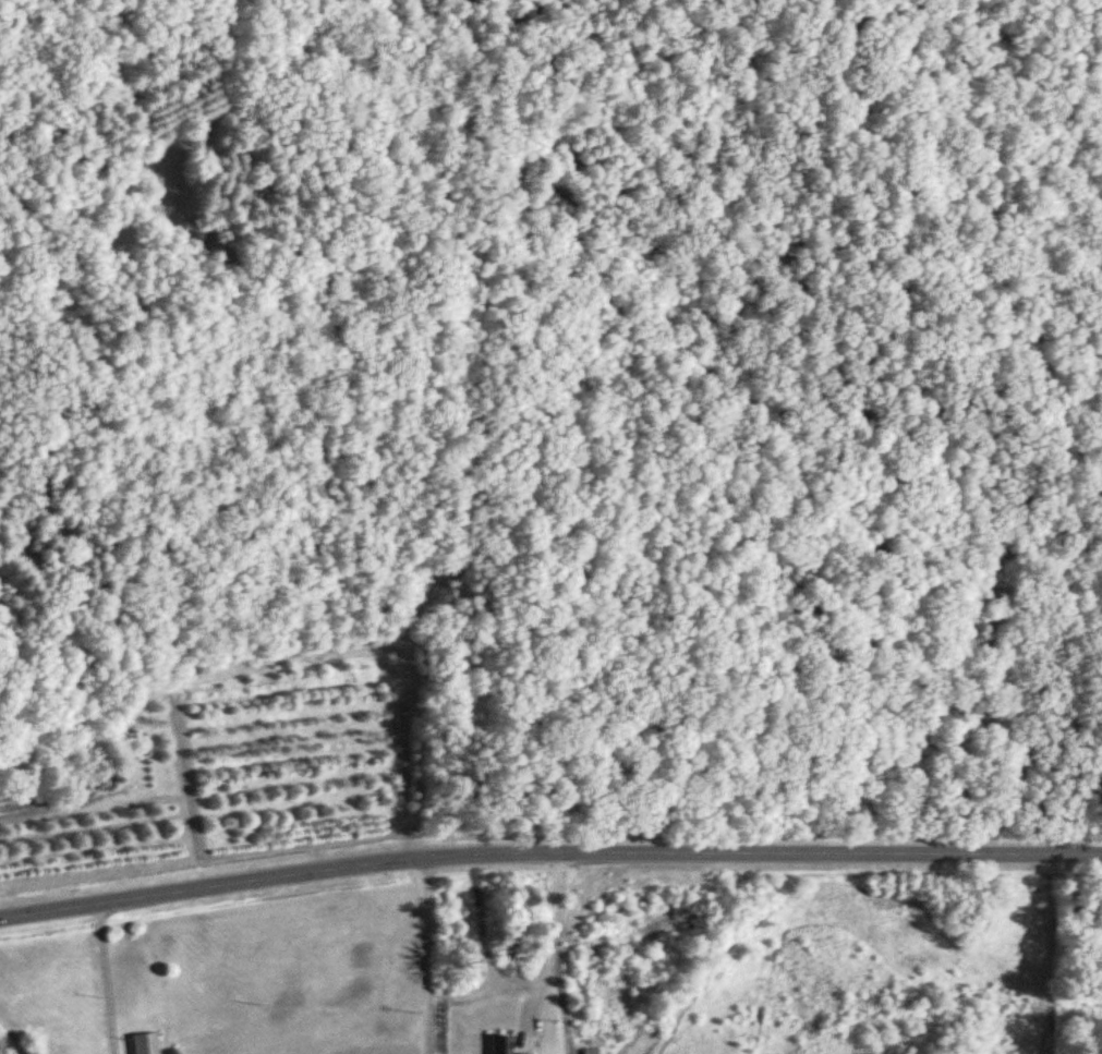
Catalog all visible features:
road: (785, 853)
road: (233, 883)
road: (546, 943)
road: (99, 979)
building: (145, 1044)
building: (499, 1044)

